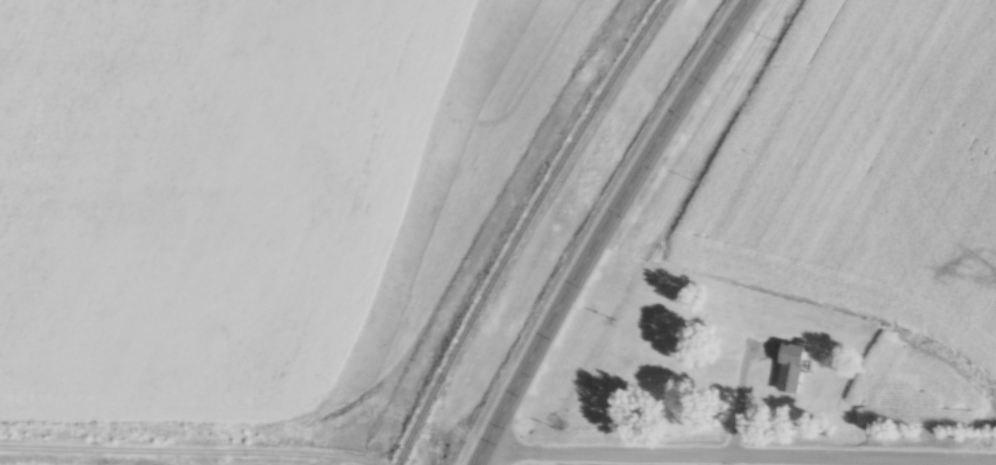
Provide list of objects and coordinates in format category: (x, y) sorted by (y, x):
railway: (517, 228)
road: (598, 228)
building: (786, 365)
road: (196, 451)
road: (737, 452)

